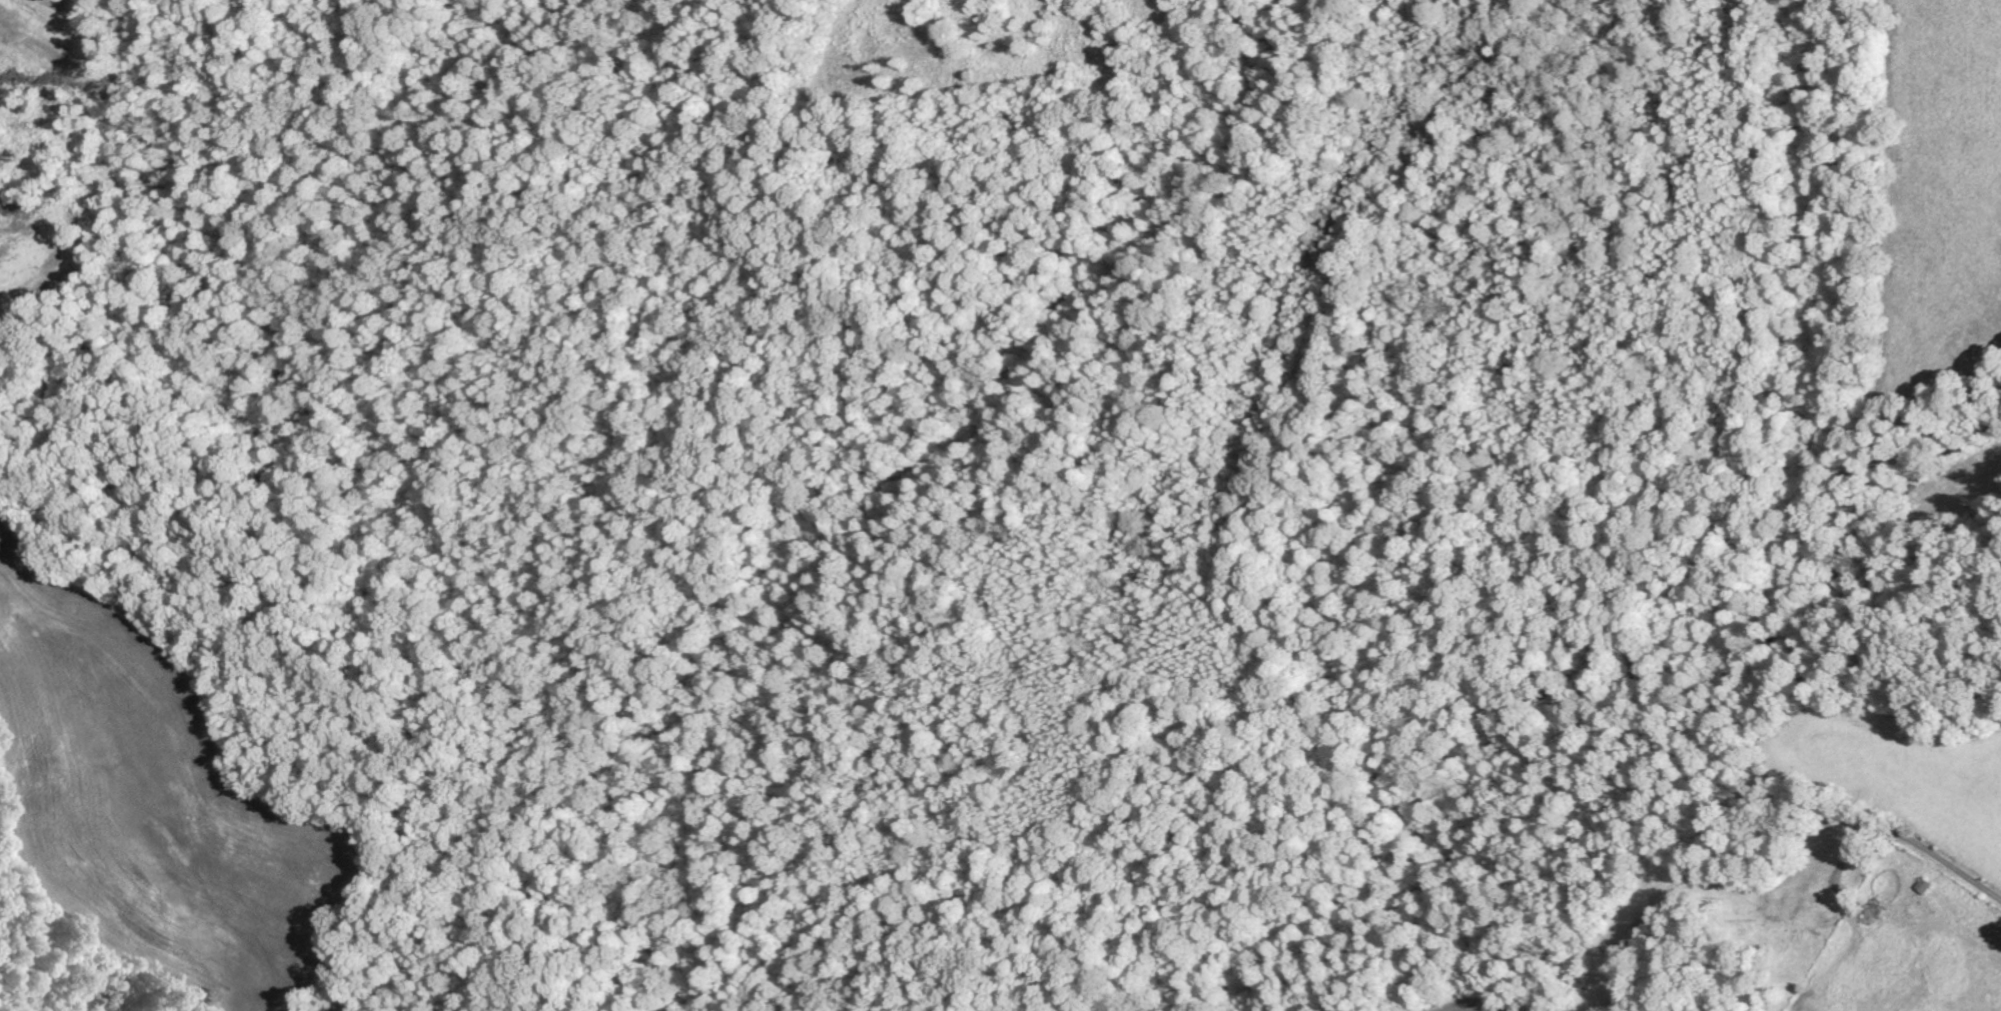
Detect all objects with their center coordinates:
road: (1896, 835)

